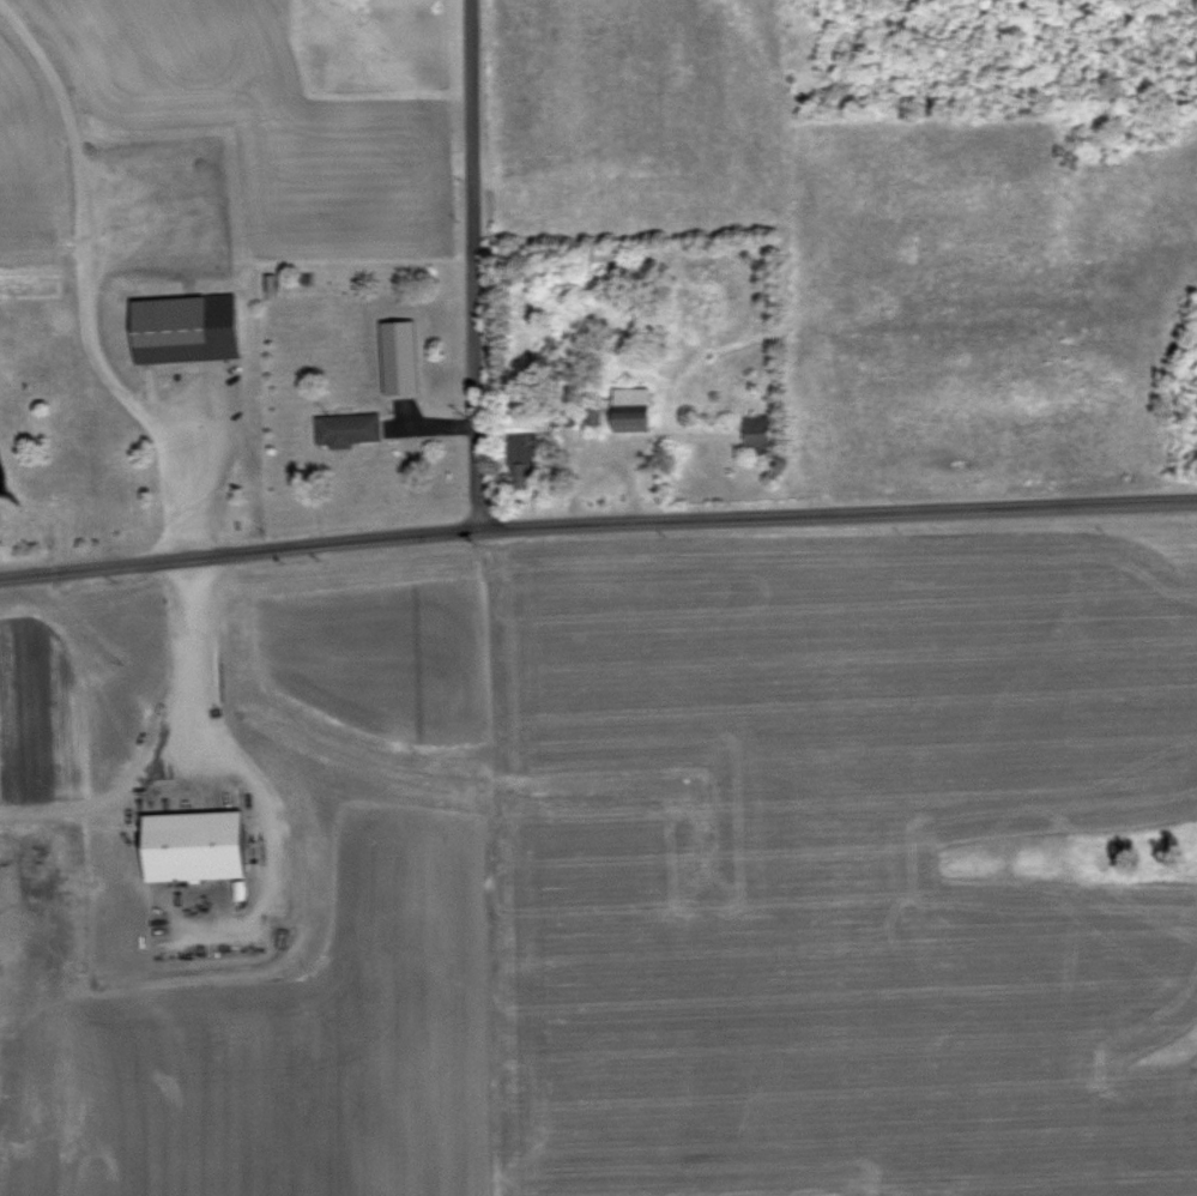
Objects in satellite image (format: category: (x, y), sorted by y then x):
road: (80, 241)
building: (604, 261)
road: (470, 262)
building: (185, 327)
building: (631, 409)
building: (347, 429)
building: (757, 431)
road: (604, 449)
building: (522, 458)
road: (187, 469)
road: (597, 520)
road: (158, 737)
building: (193, 846)

